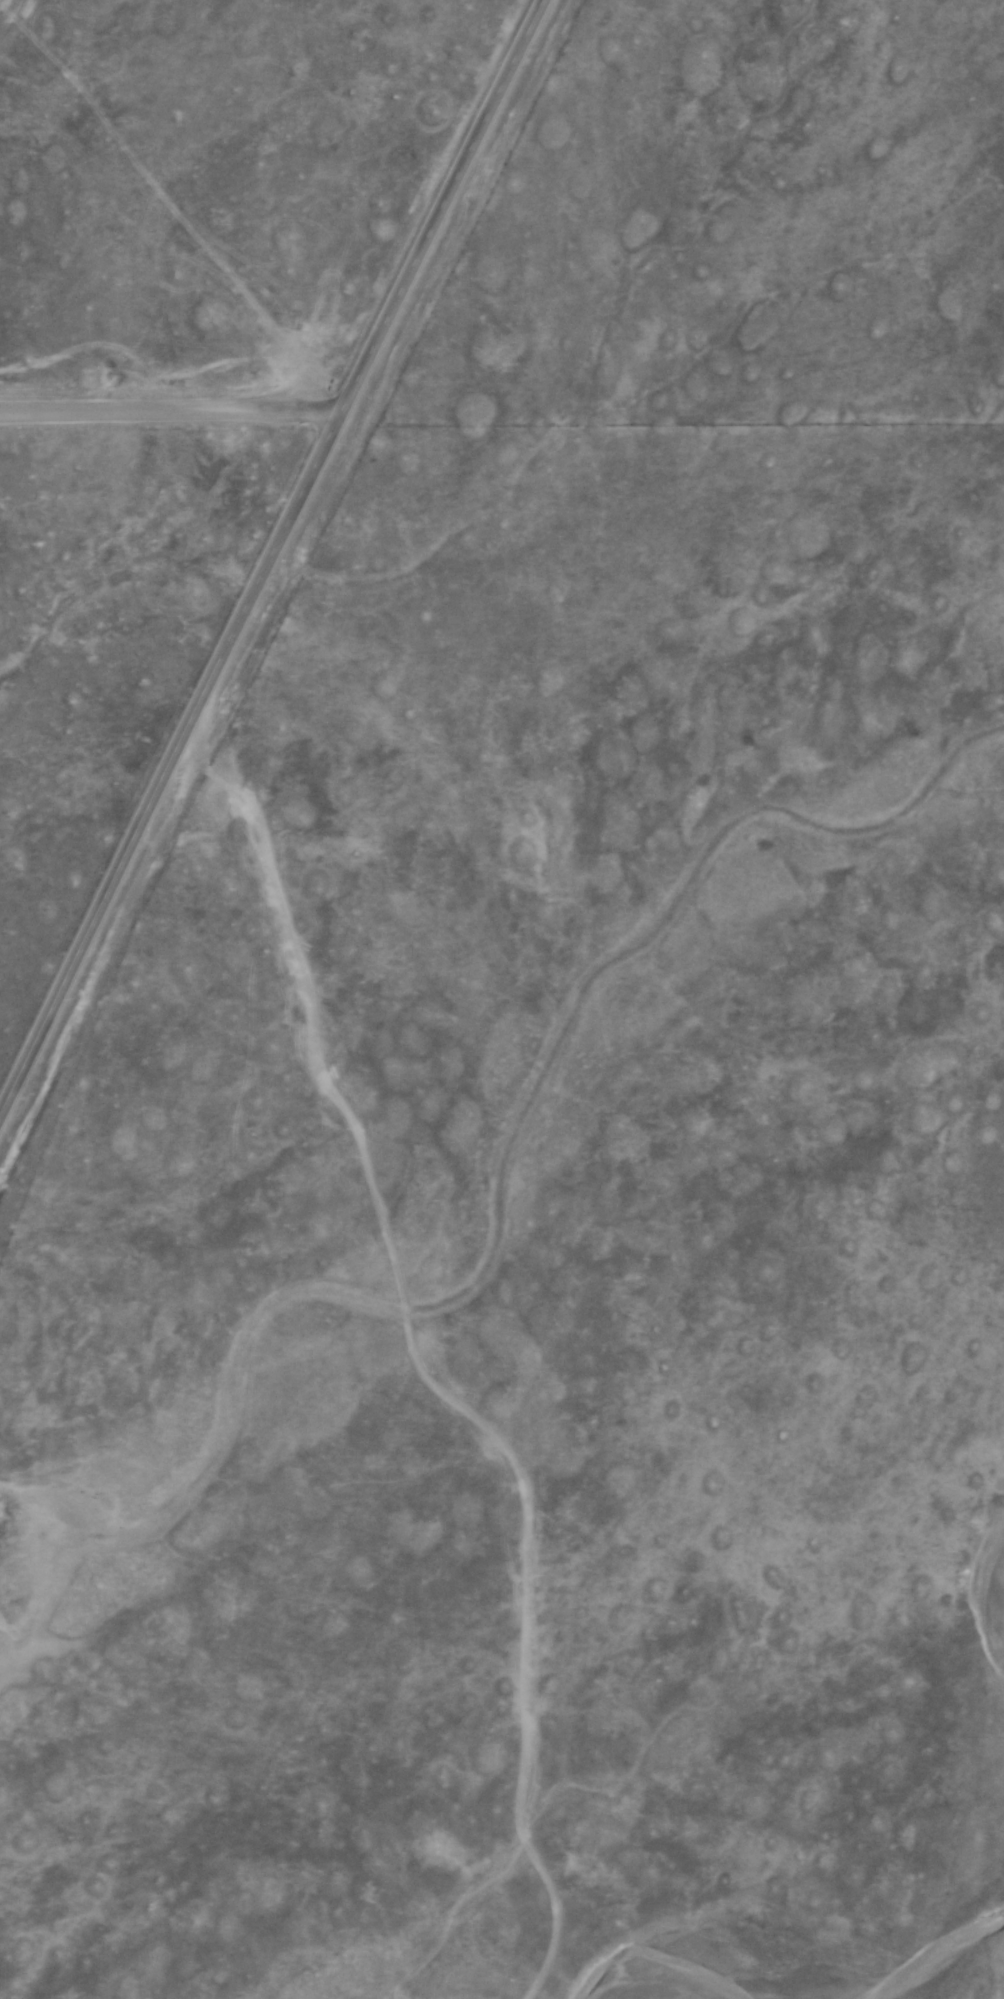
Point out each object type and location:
road: (167, 414)
road: (268, 552)
road: (417, 1364)

